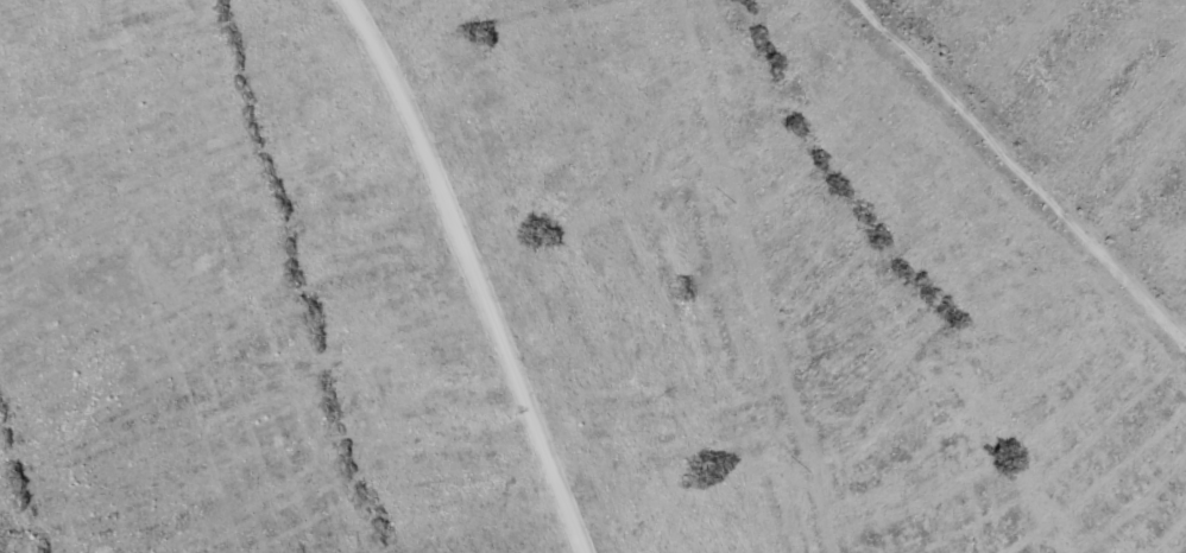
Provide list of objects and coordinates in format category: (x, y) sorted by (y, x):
road: (466, 274)

